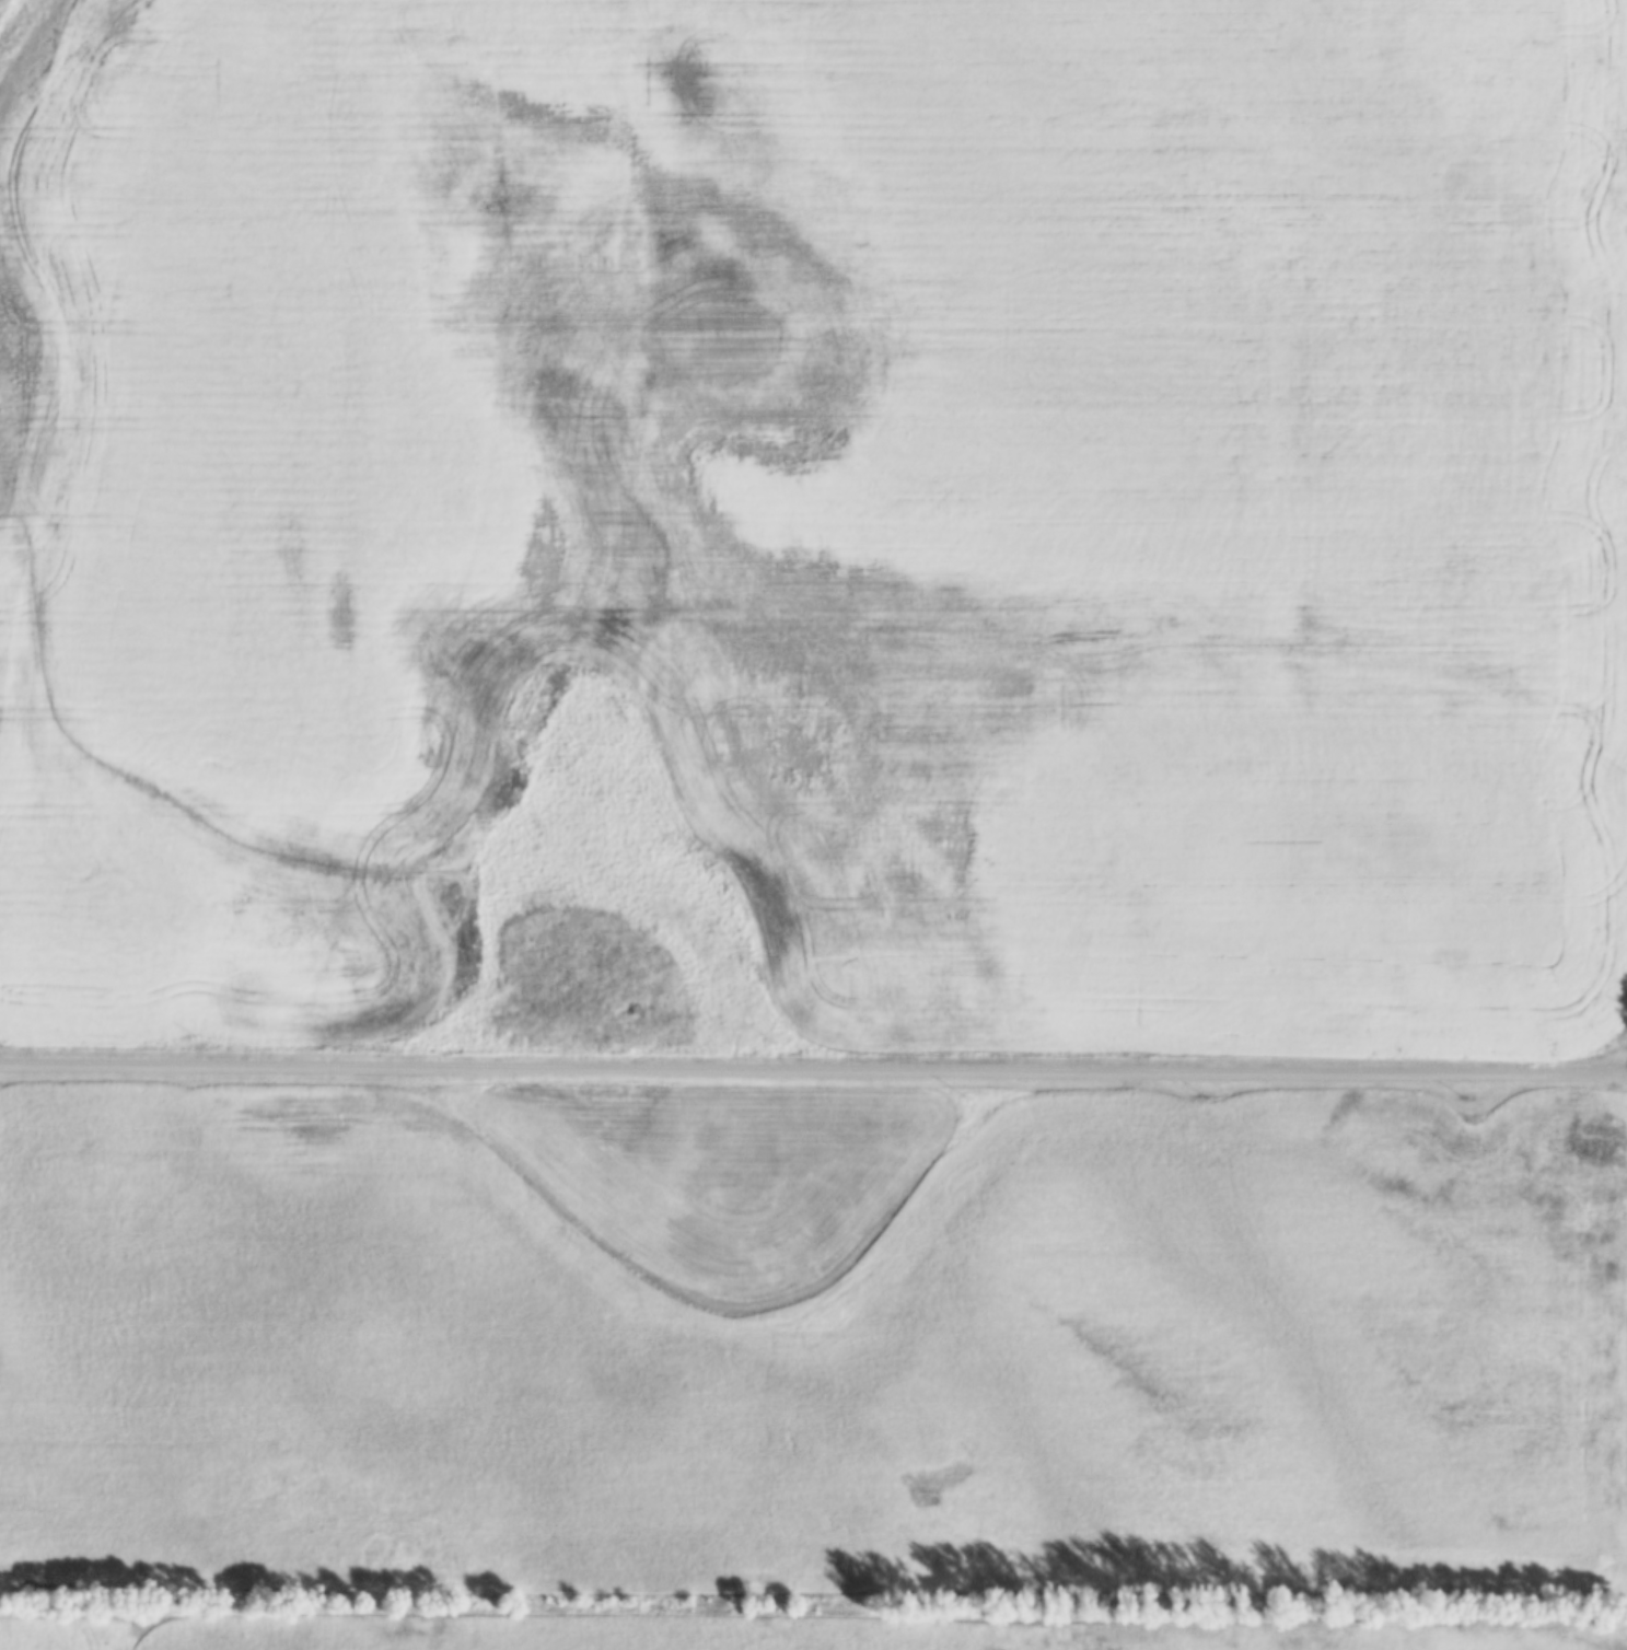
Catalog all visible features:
road: (813, 1073)

